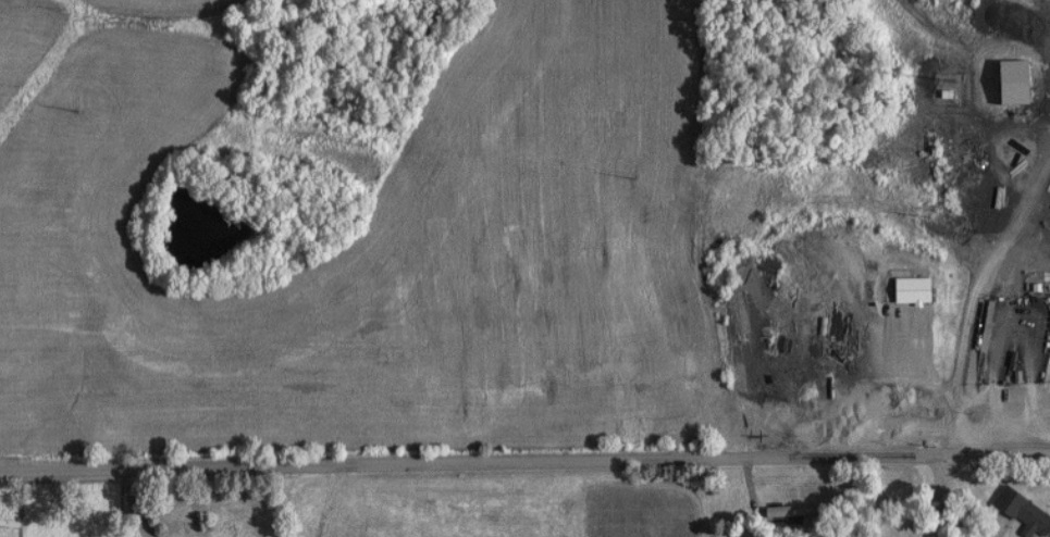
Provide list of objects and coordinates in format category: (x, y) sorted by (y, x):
road: (976, 282)
building: (900, 290)
road: (894, 377)
road: (524, 469)
road: (946, 496)
road: (155, 504)
building: (782, 511)
building: (1014, 513)
building: (234, 526)

